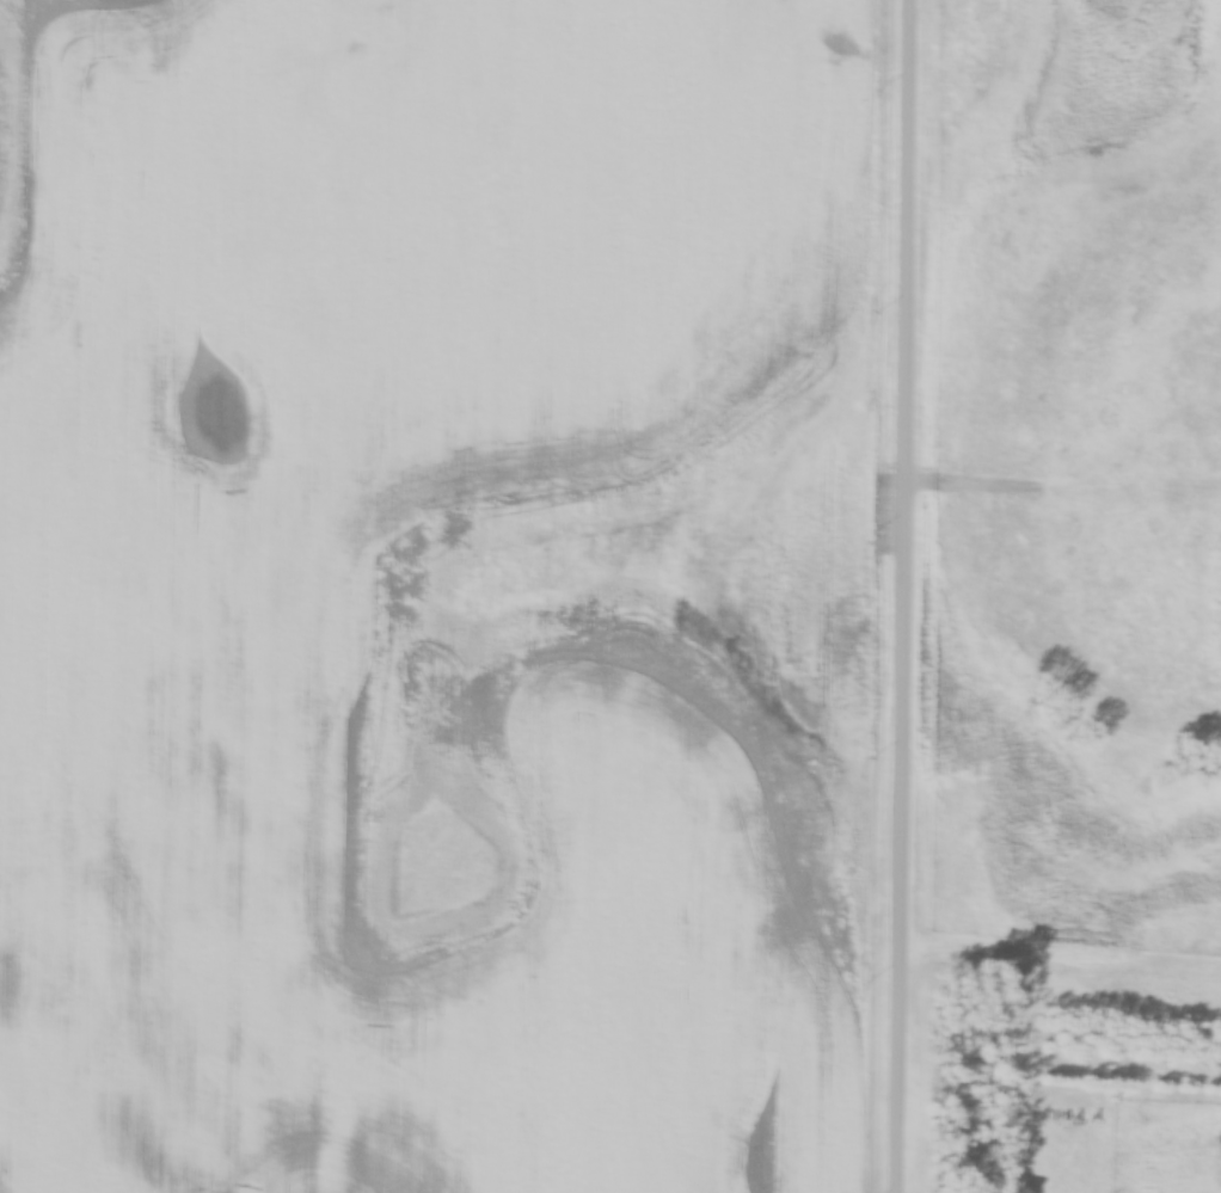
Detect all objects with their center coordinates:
road: (906, 596)

